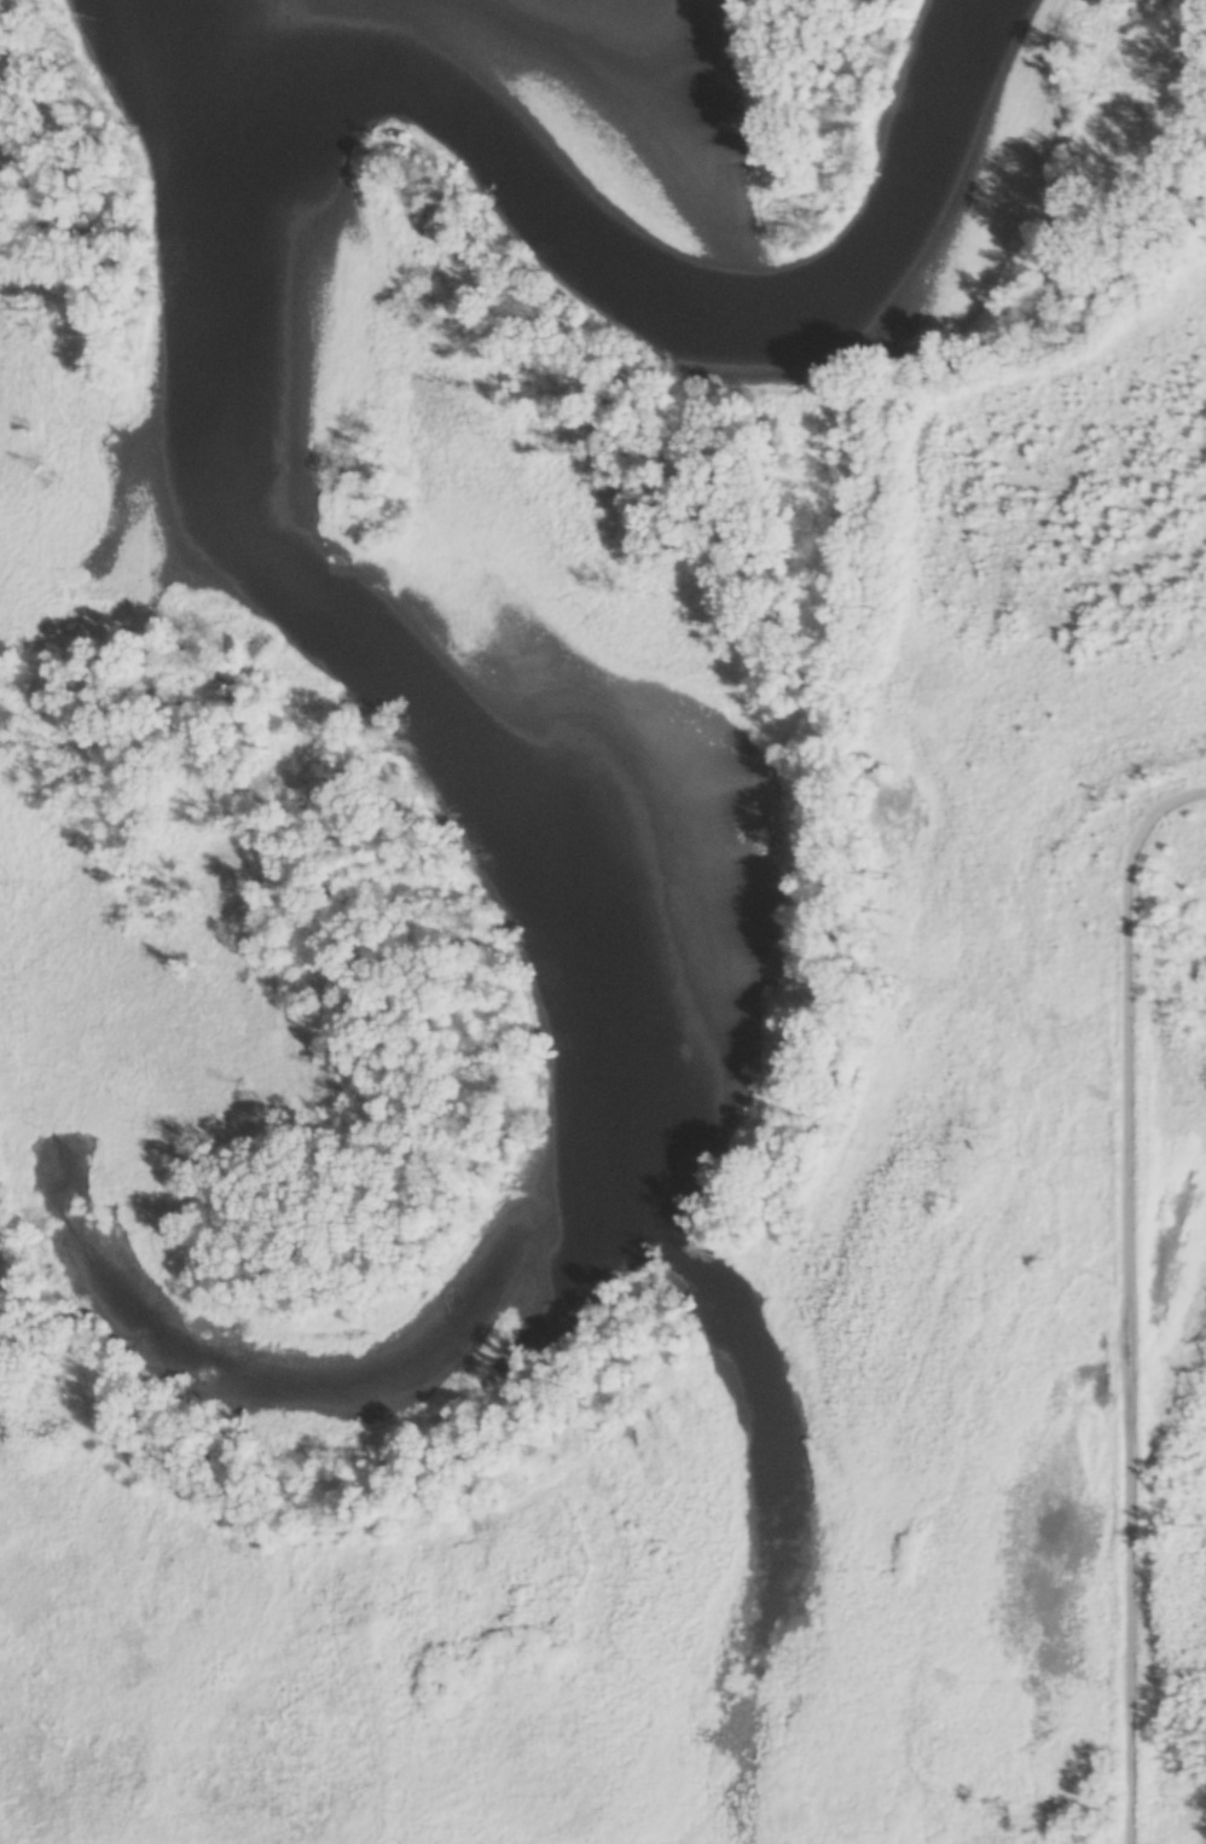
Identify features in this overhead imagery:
road: (1169, 795)
road: (1132, 1321)

